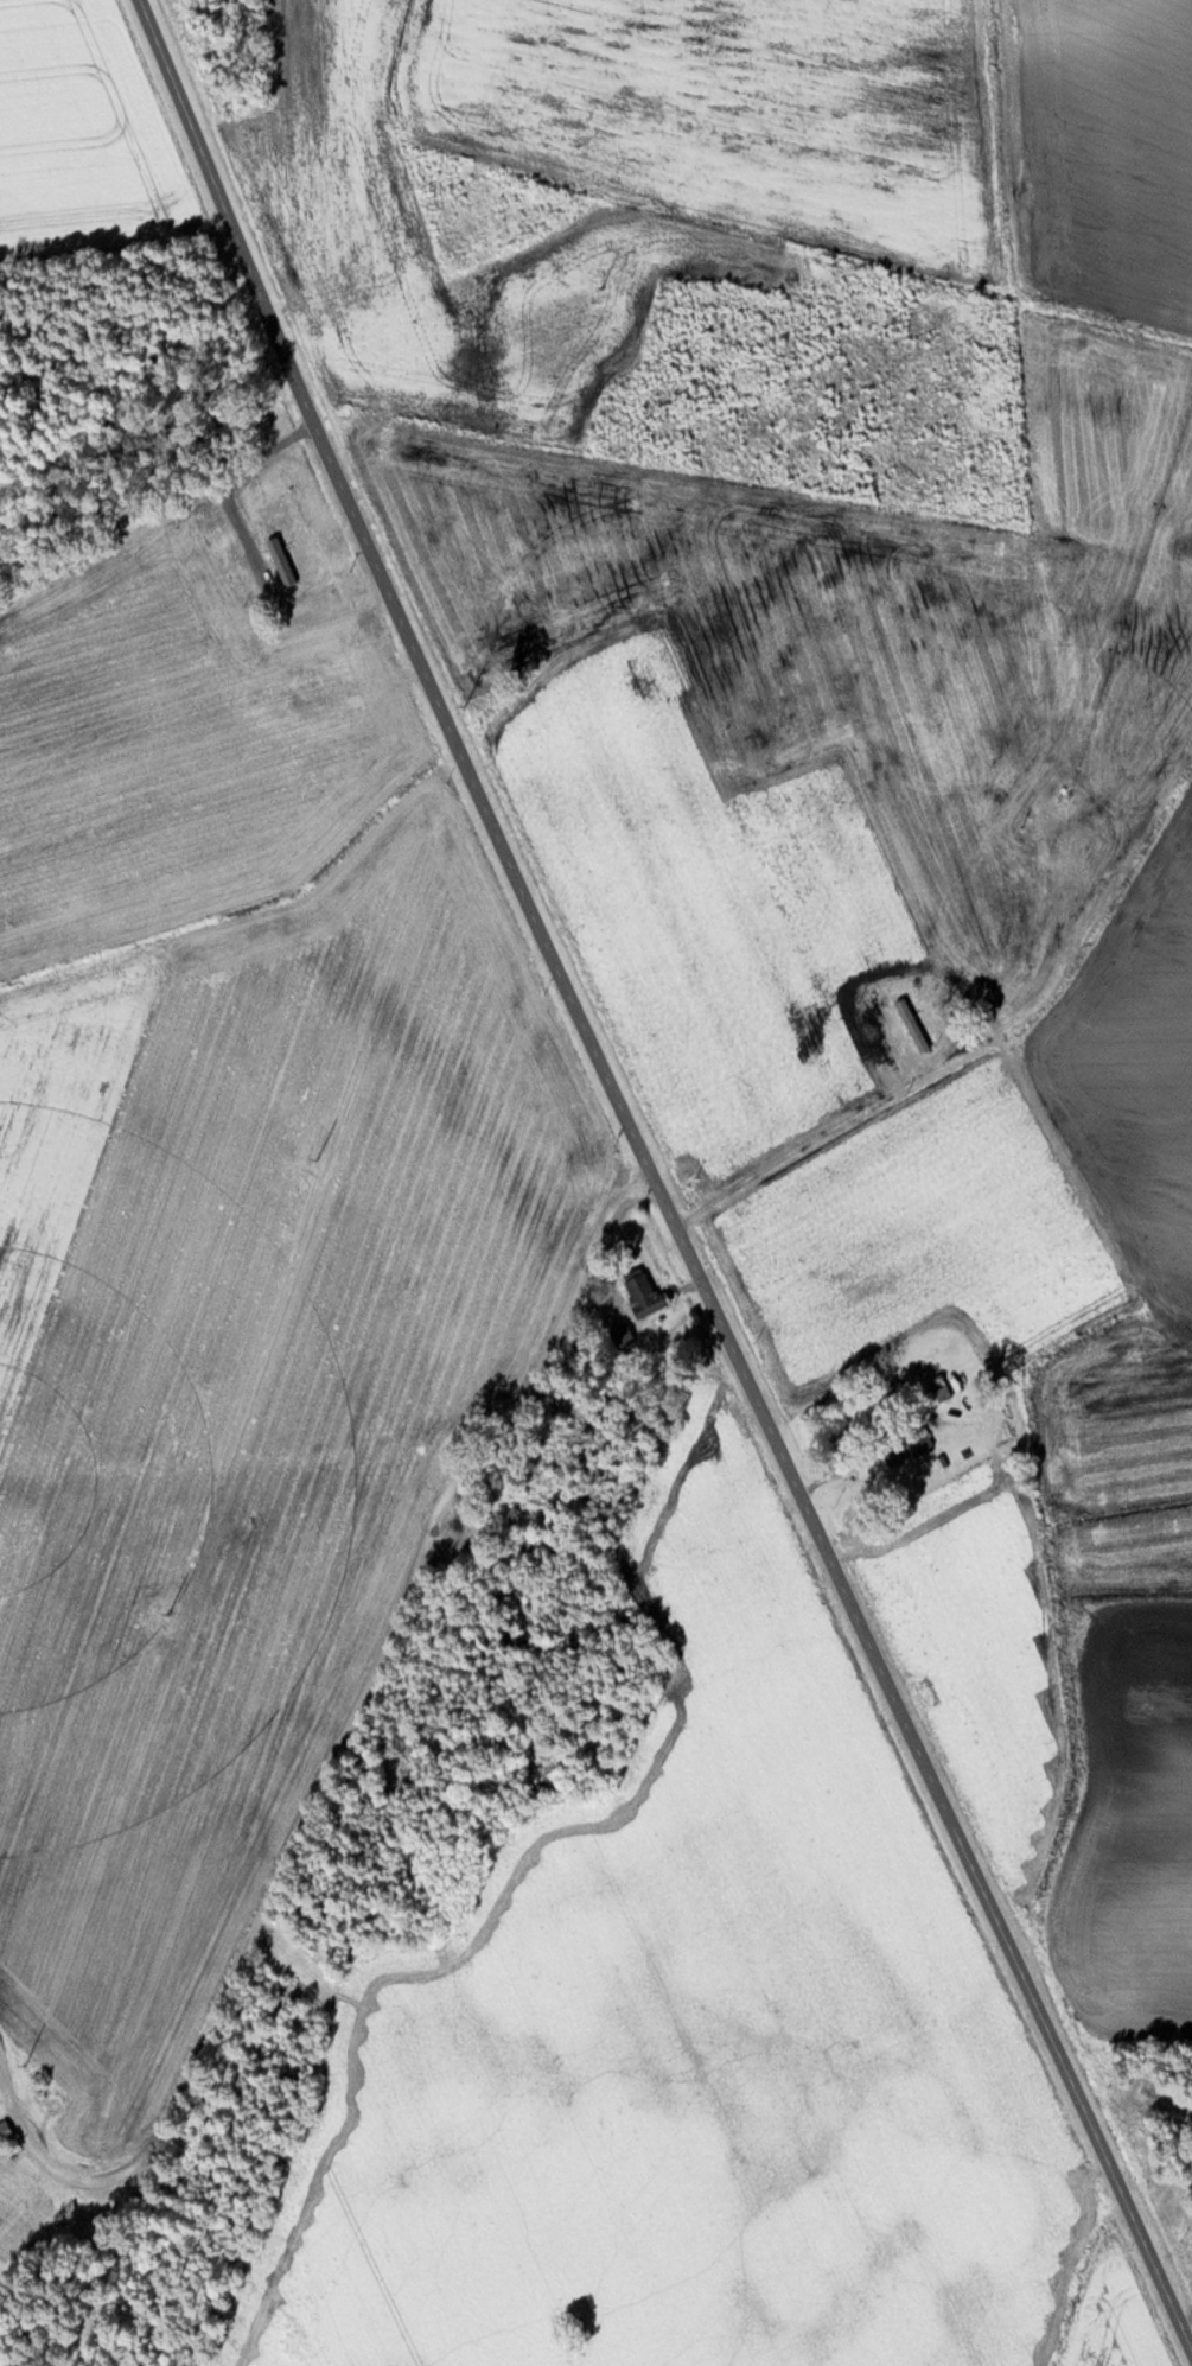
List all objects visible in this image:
building: (318, 600)
building: (327, 691)
building: (913, 1024)
road: (796, 1155)
road: (656, 1177)
building: (643, 1289)
building: (622, 1335)
building: (942, 1392)
building: (981, 1426)
building: (906, 1445)
road: (385, 1649)
building: (5, 2129)

